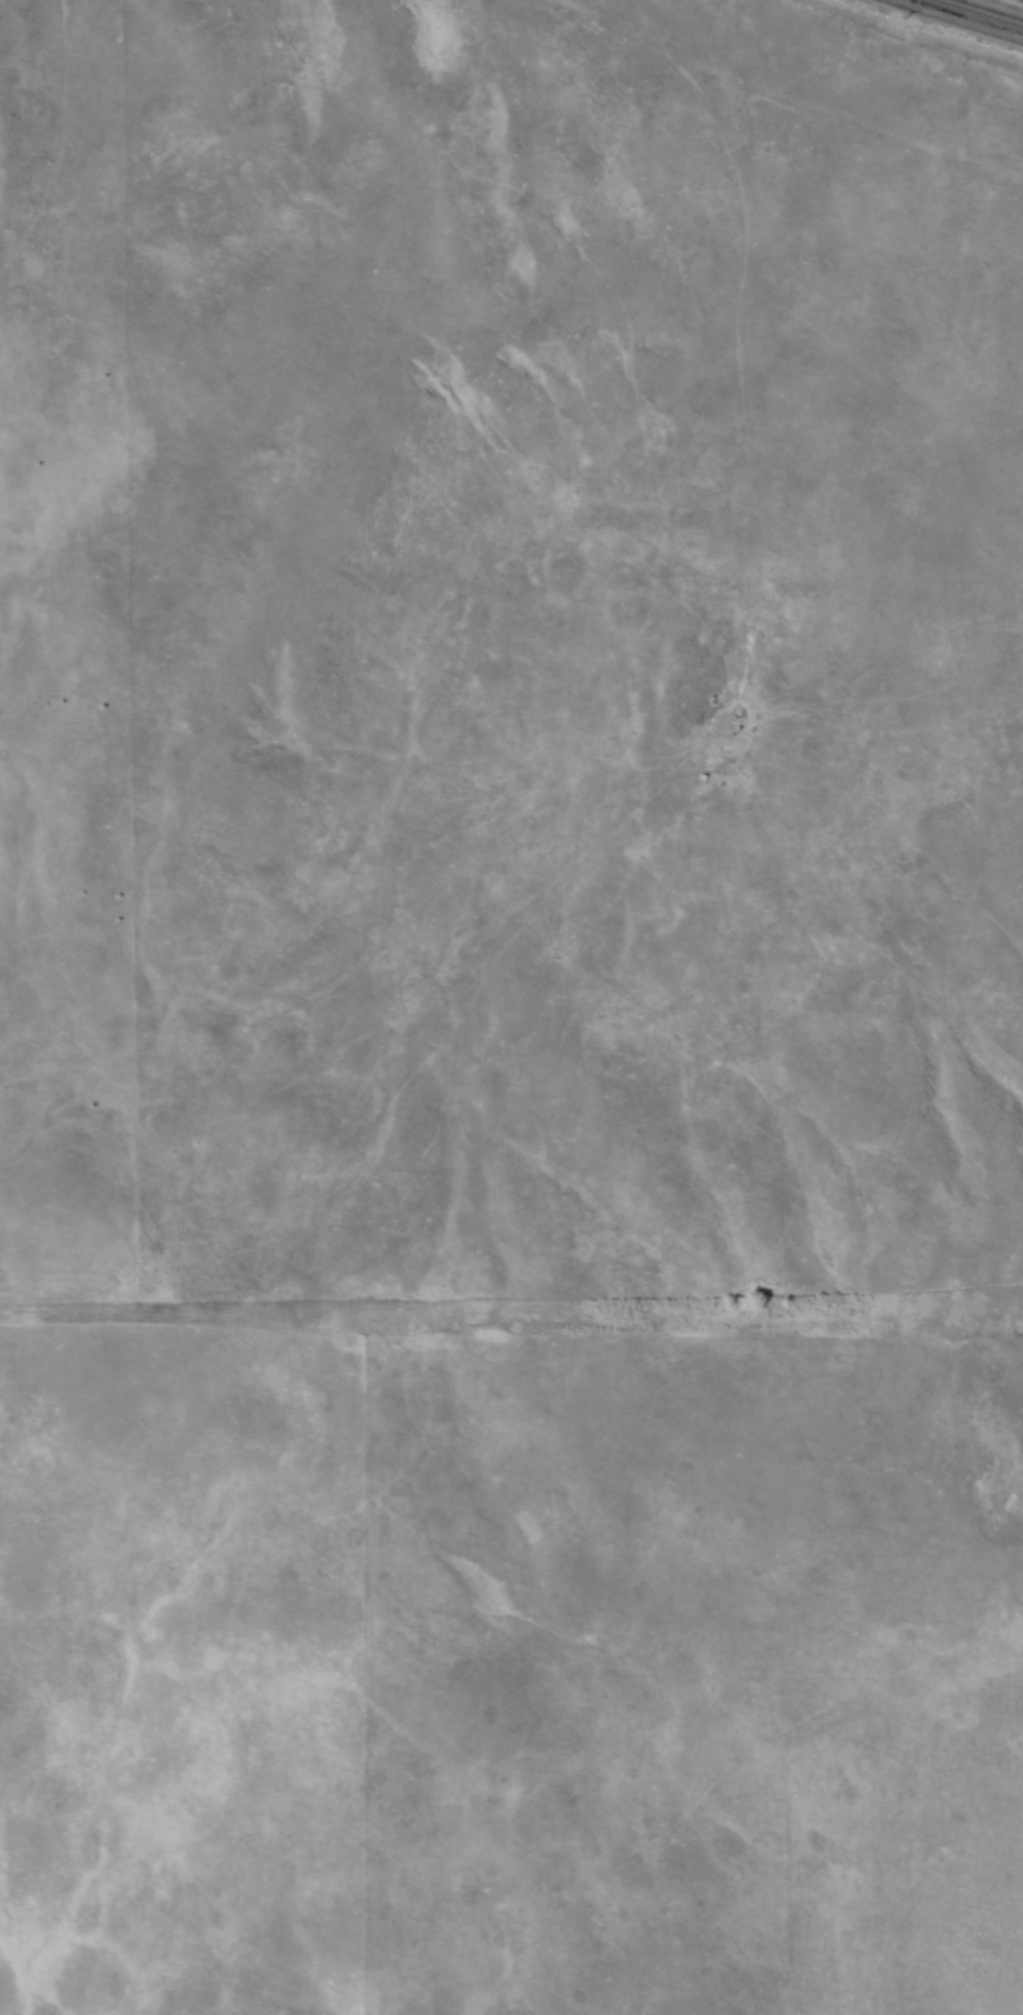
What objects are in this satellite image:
railway: (984, 12)
railway: (956, 22)

